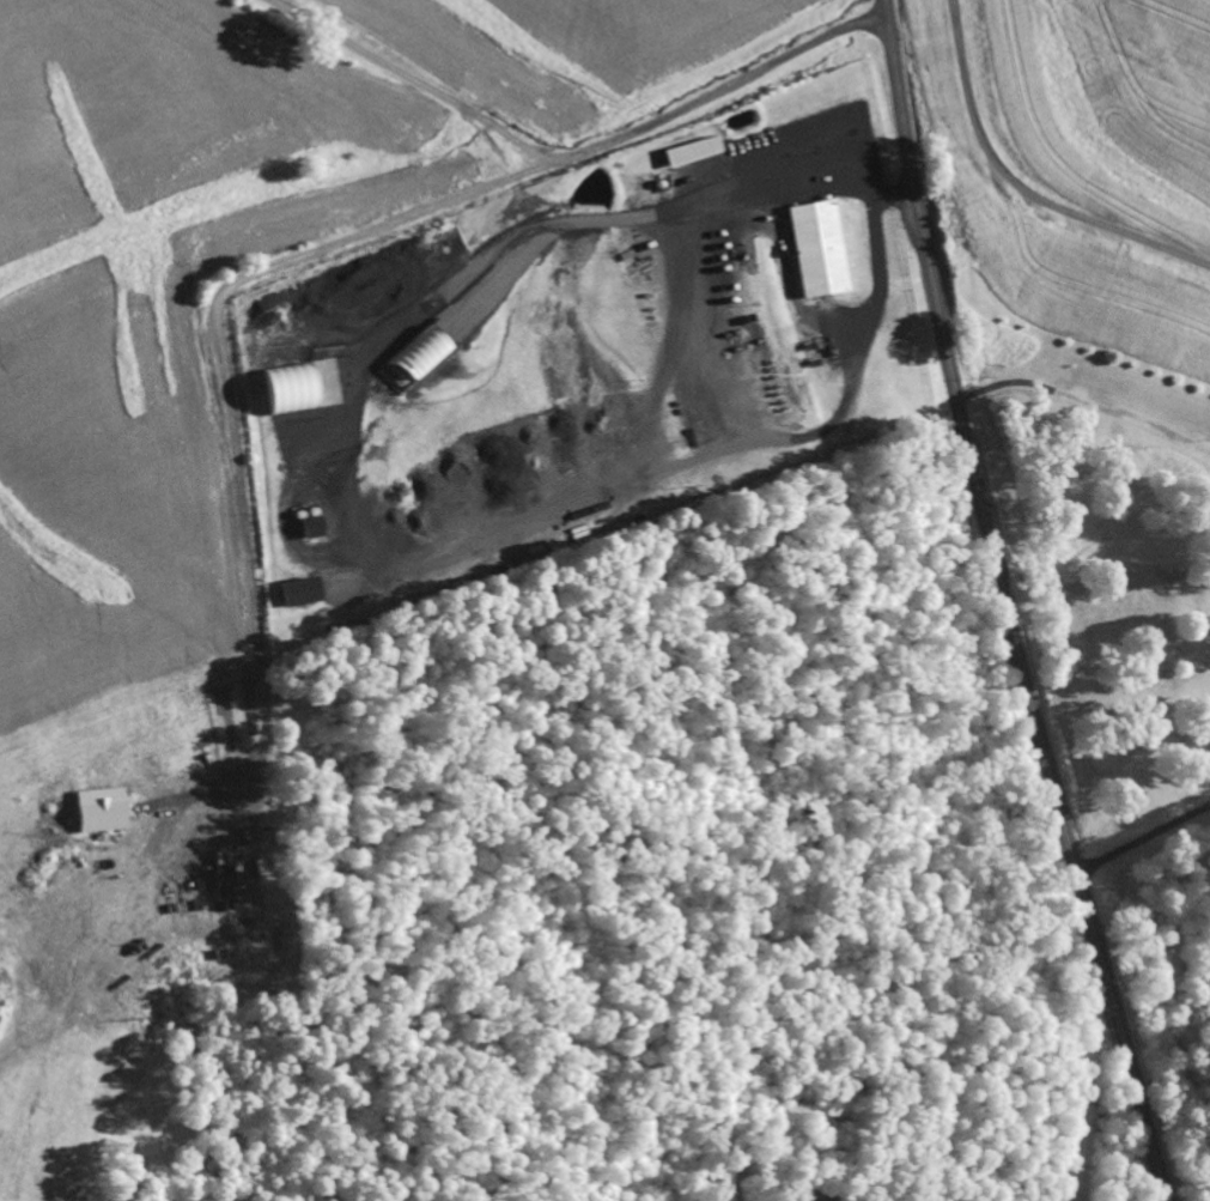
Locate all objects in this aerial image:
building: (691, 150)
road: (568, 158)
building: (815, 248)
building: (415, 357)
building: (290, 387)
building: (311, 527)
building: (300, 589)
road: (1005, 605)

